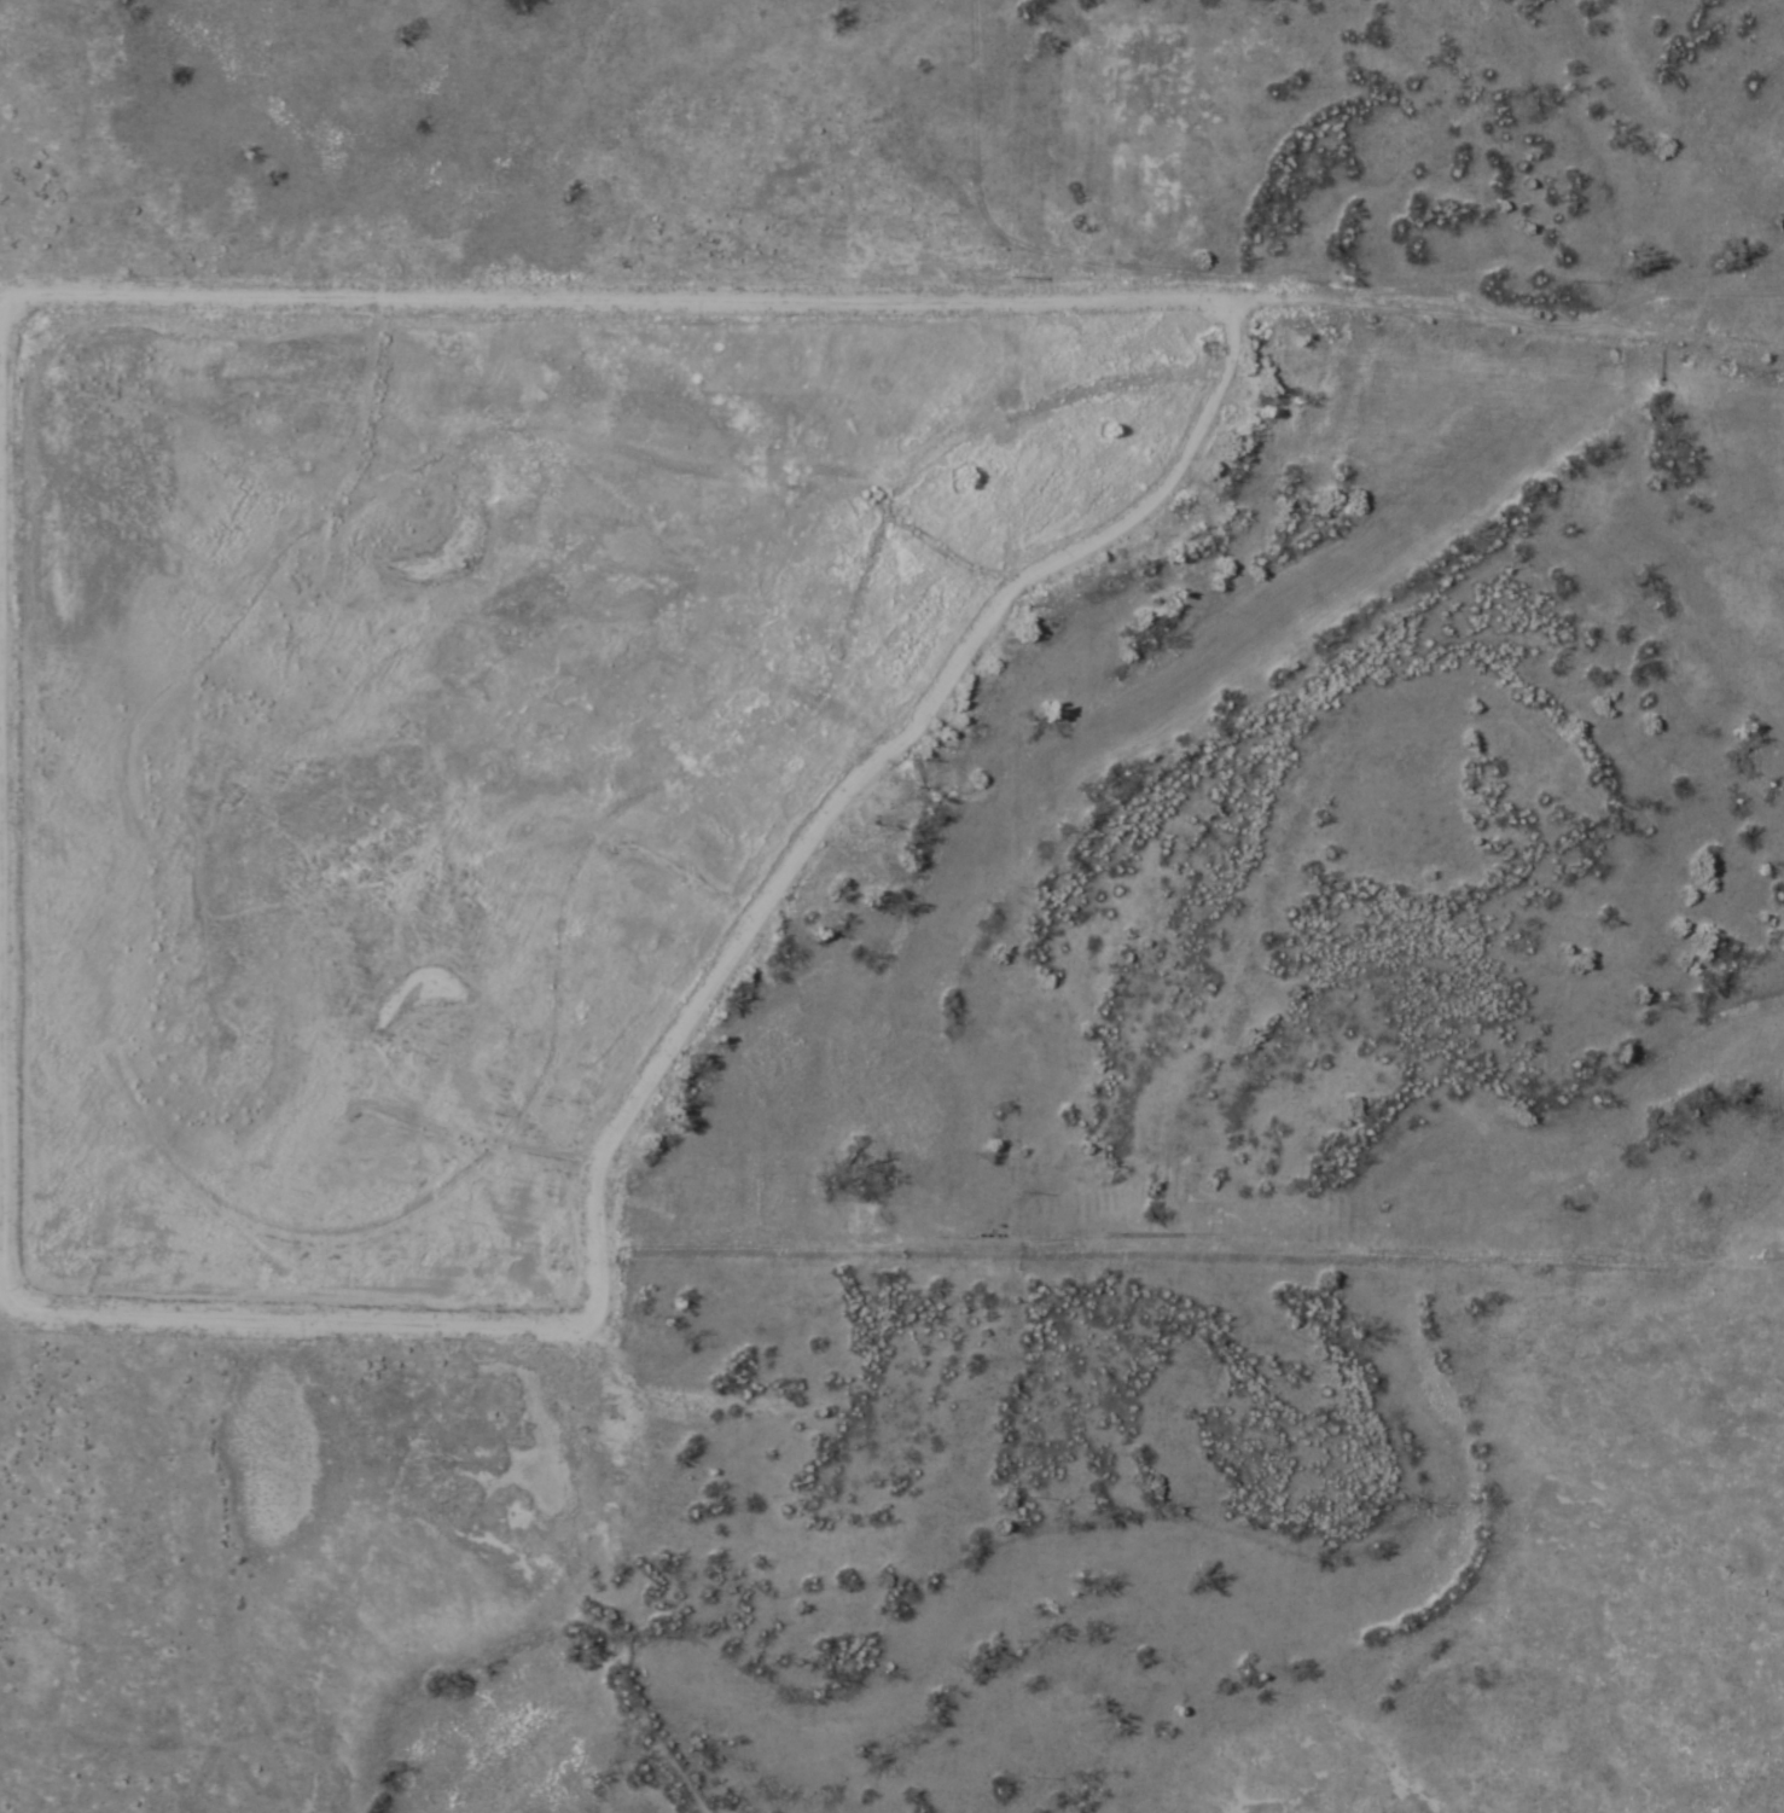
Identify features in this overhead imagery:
road: (893, 390)

